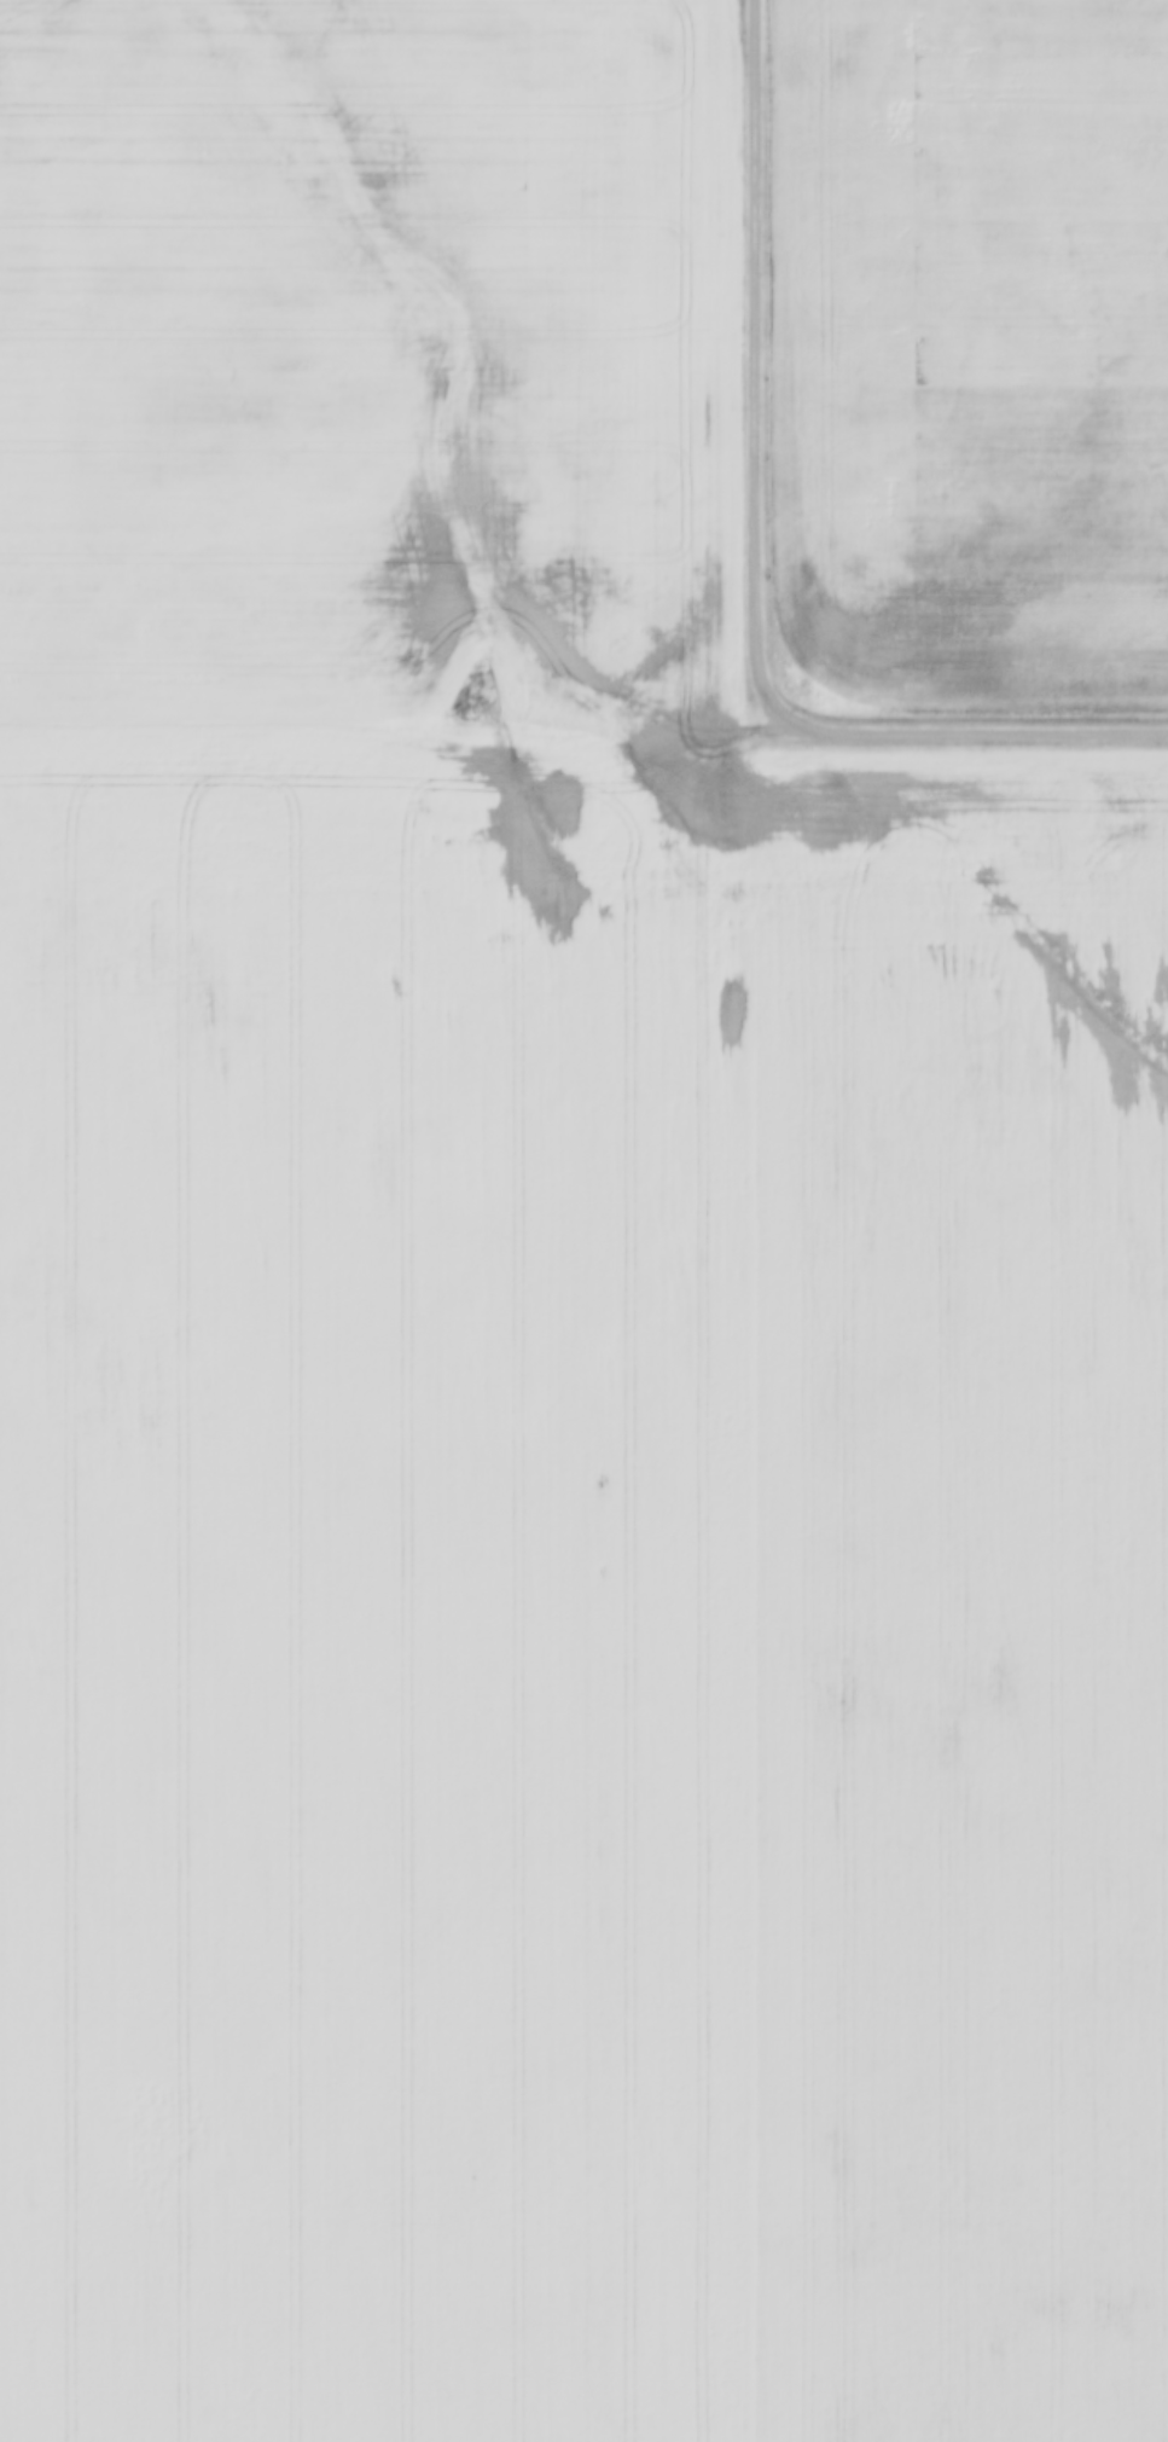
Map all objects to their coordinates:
road: (756, 557)

